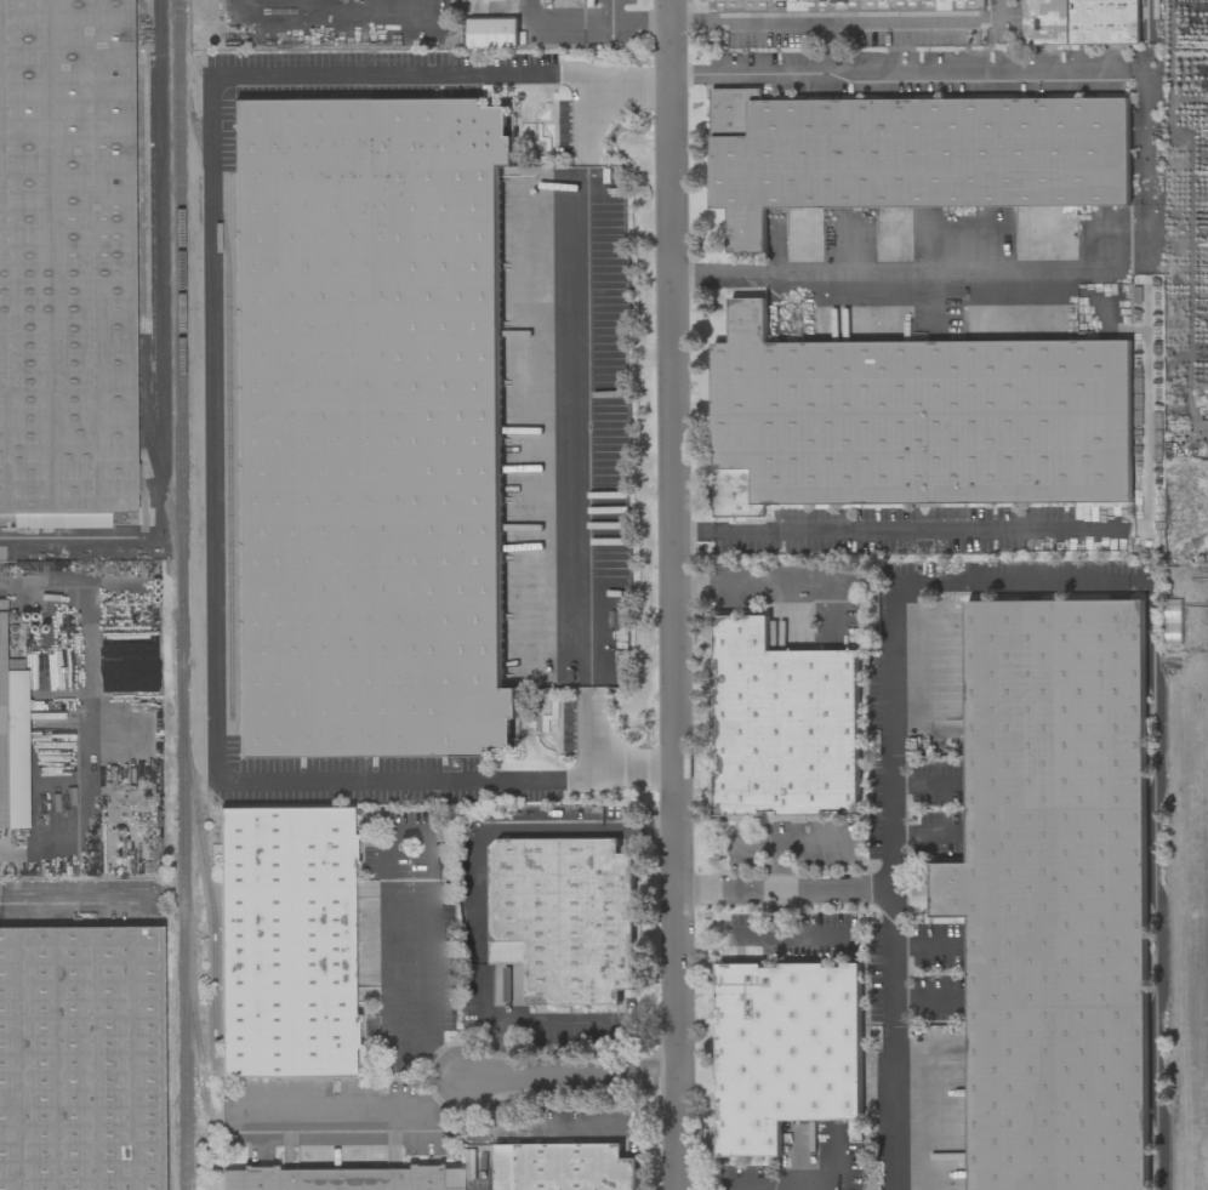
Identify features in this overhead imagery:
building: (844, 5)
building: (237, 19)
road: (634, 21)
building: (1081, 22)
road: (848, 25)
building: (492, 33)
road: (1004, 73)
building: (911, 154)
building: (65, 263)
road: (159, 269)
road: (900, 269)
railway: (139, 320)
railway: (227, 402)
road: (215, 420)
building: (916, 421)
road: (580, 426)
building: (369, 428)
road: (1031, 529)
road: (76, 539)
road: (763, 582)
road: (1073, 585)
railway: (181, 594)
road: (677, 594)
power tower: (1207, 607)
road: (75, 718)
building: (784, 724)
building: (12, 740)
road: (480, 860)
railway: (209, 888)
building: (1055, 894)
road: (72, 904)
building: (566, 933)
building: (286, 944)
road: (410, 995)
road: (560, 1035)
road: (891, 1037)
building: (785, 1052)
building: (80, 1059)
road: (571, 1077)
railway: (205, 1095)
road: (358, 1108)
road: (500, 1112)
road: (563, 1126)
road: (479, 1167)
building: (563, 1167)
building: (342, 1179)
road: (759, 1179)
road: (808, 1179)

